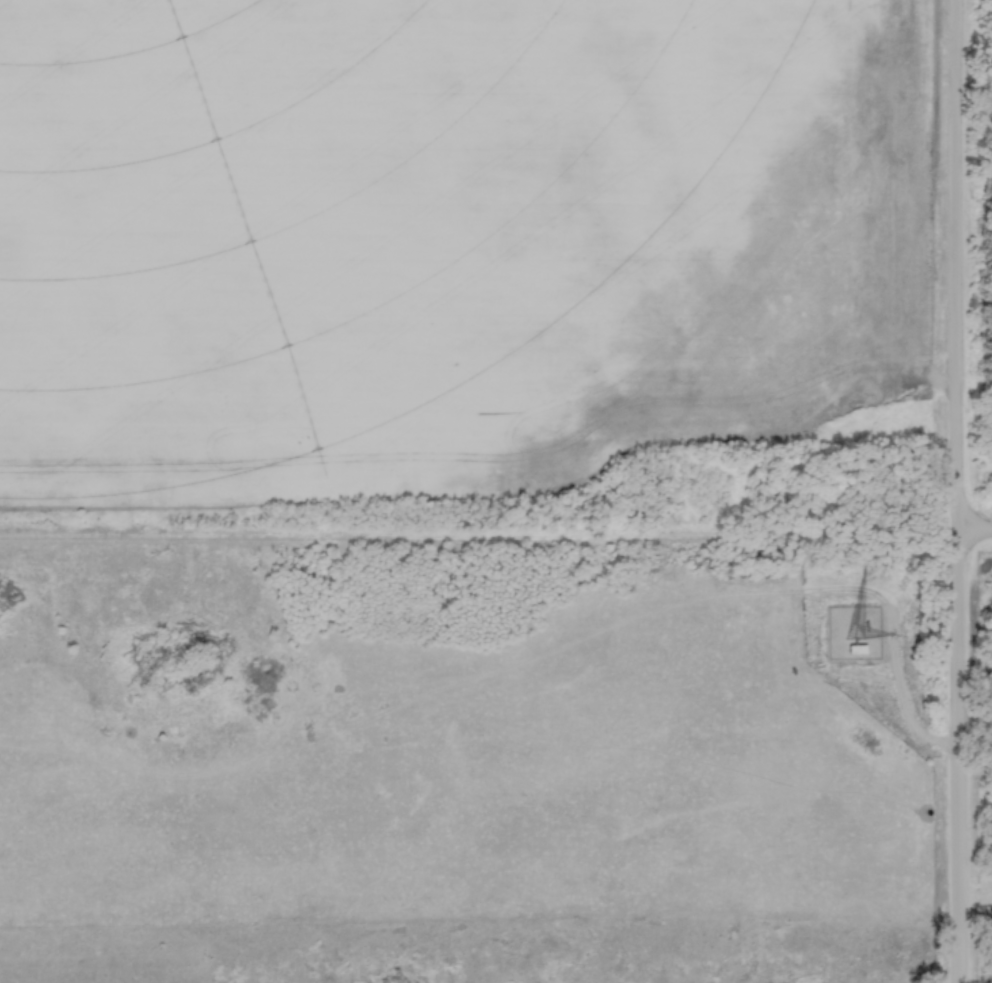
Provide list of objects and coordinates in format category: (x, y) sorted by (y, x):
road: (958, 491)
road: (479, 532)
road: (975, 535)
road: (976, 736)

